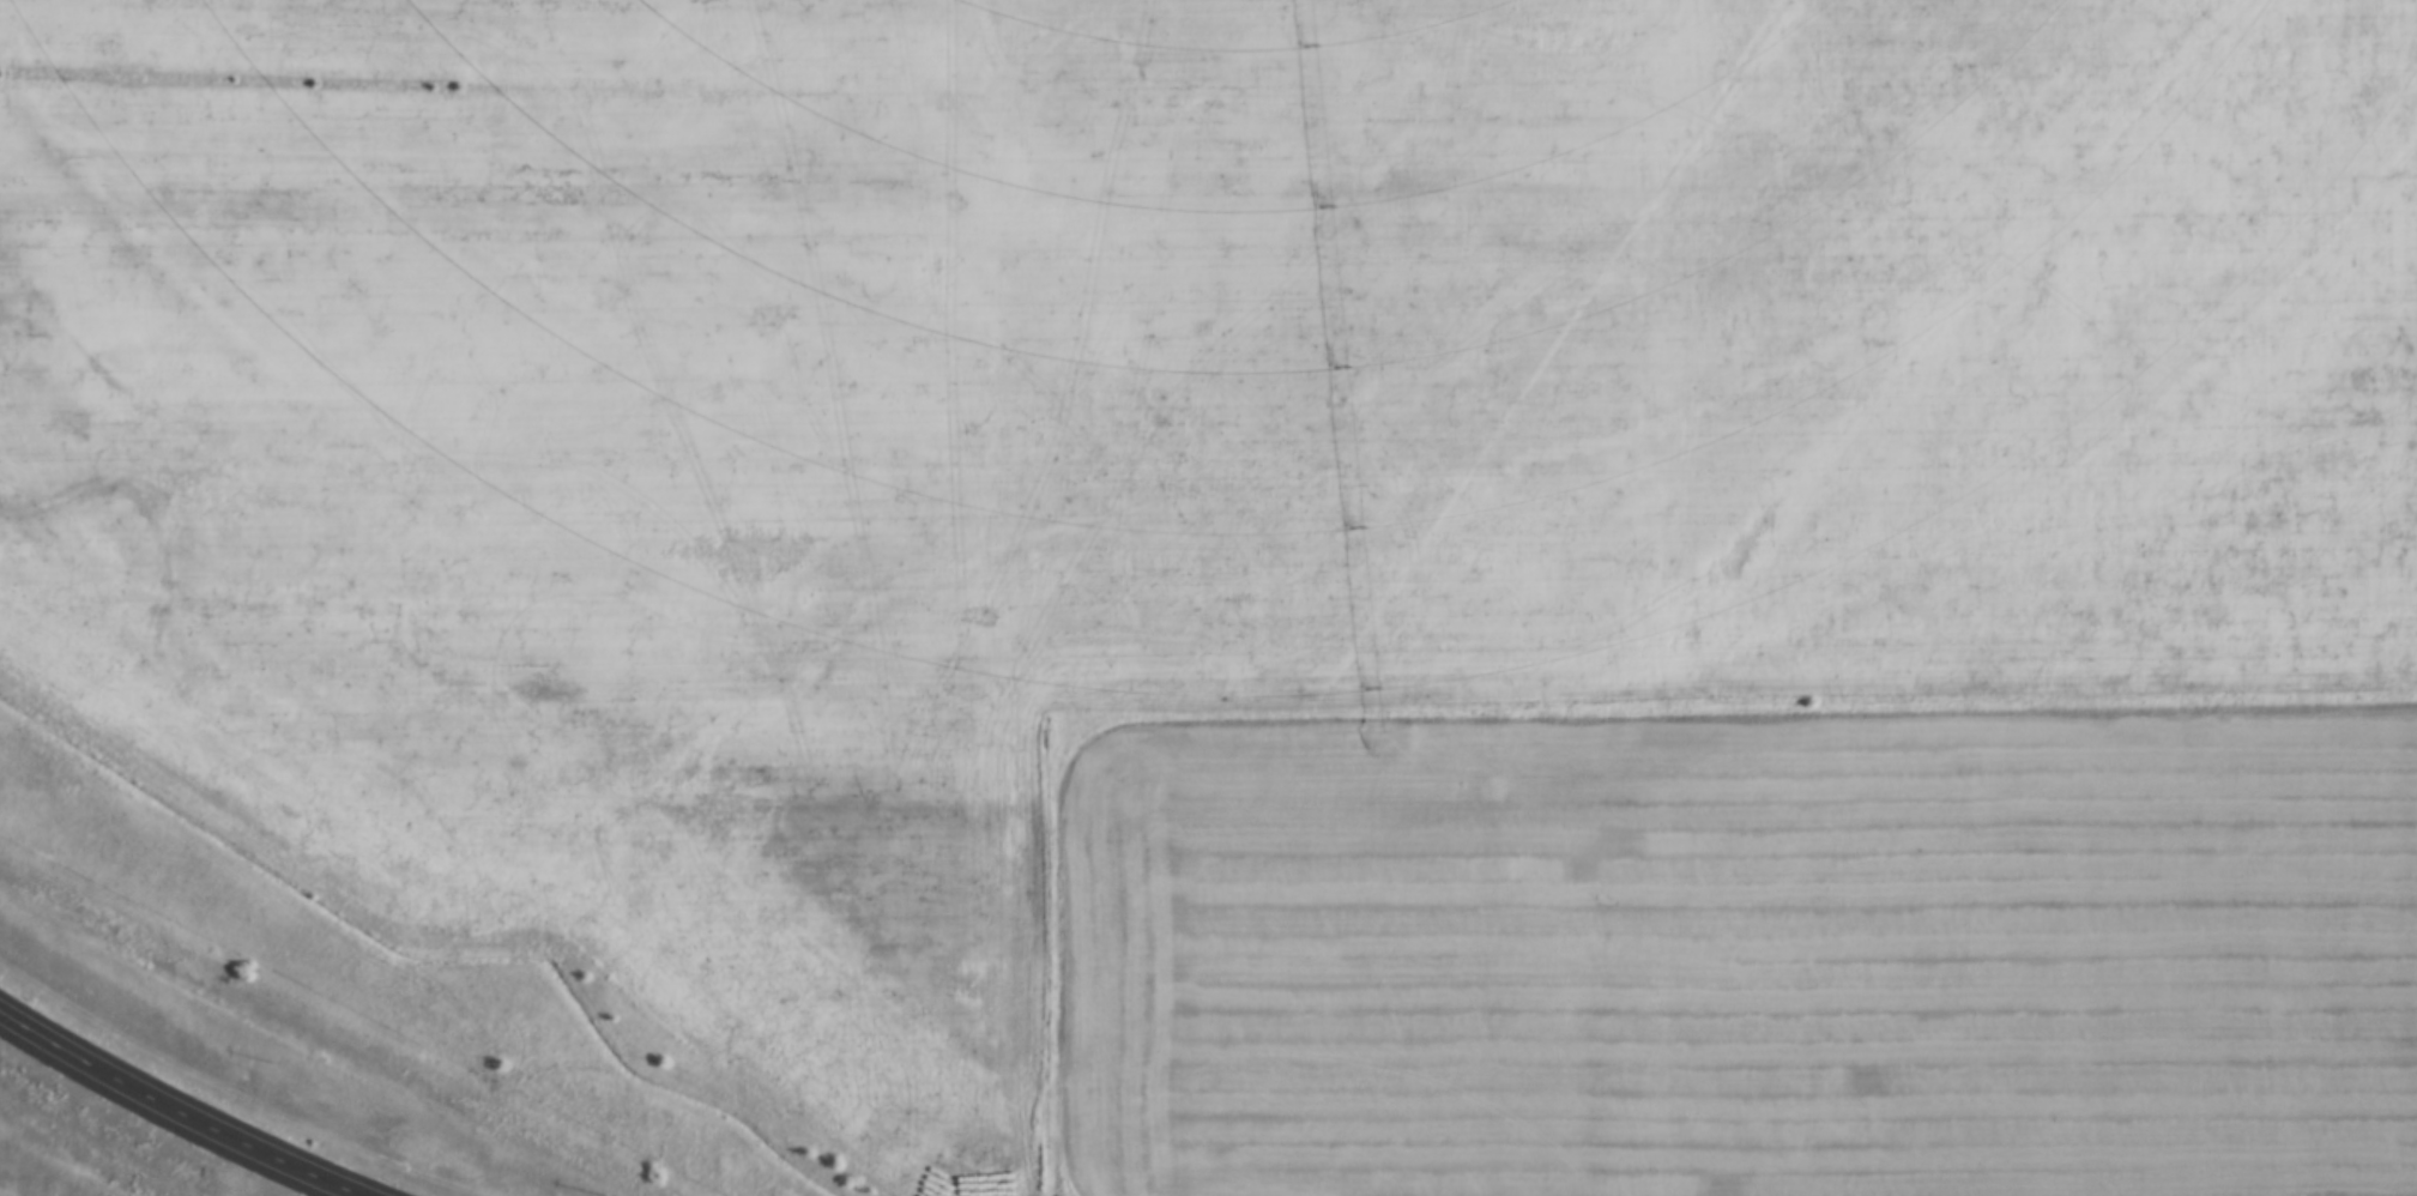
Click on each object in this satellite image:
road: (1032, 611)
road: (188, 1110)

